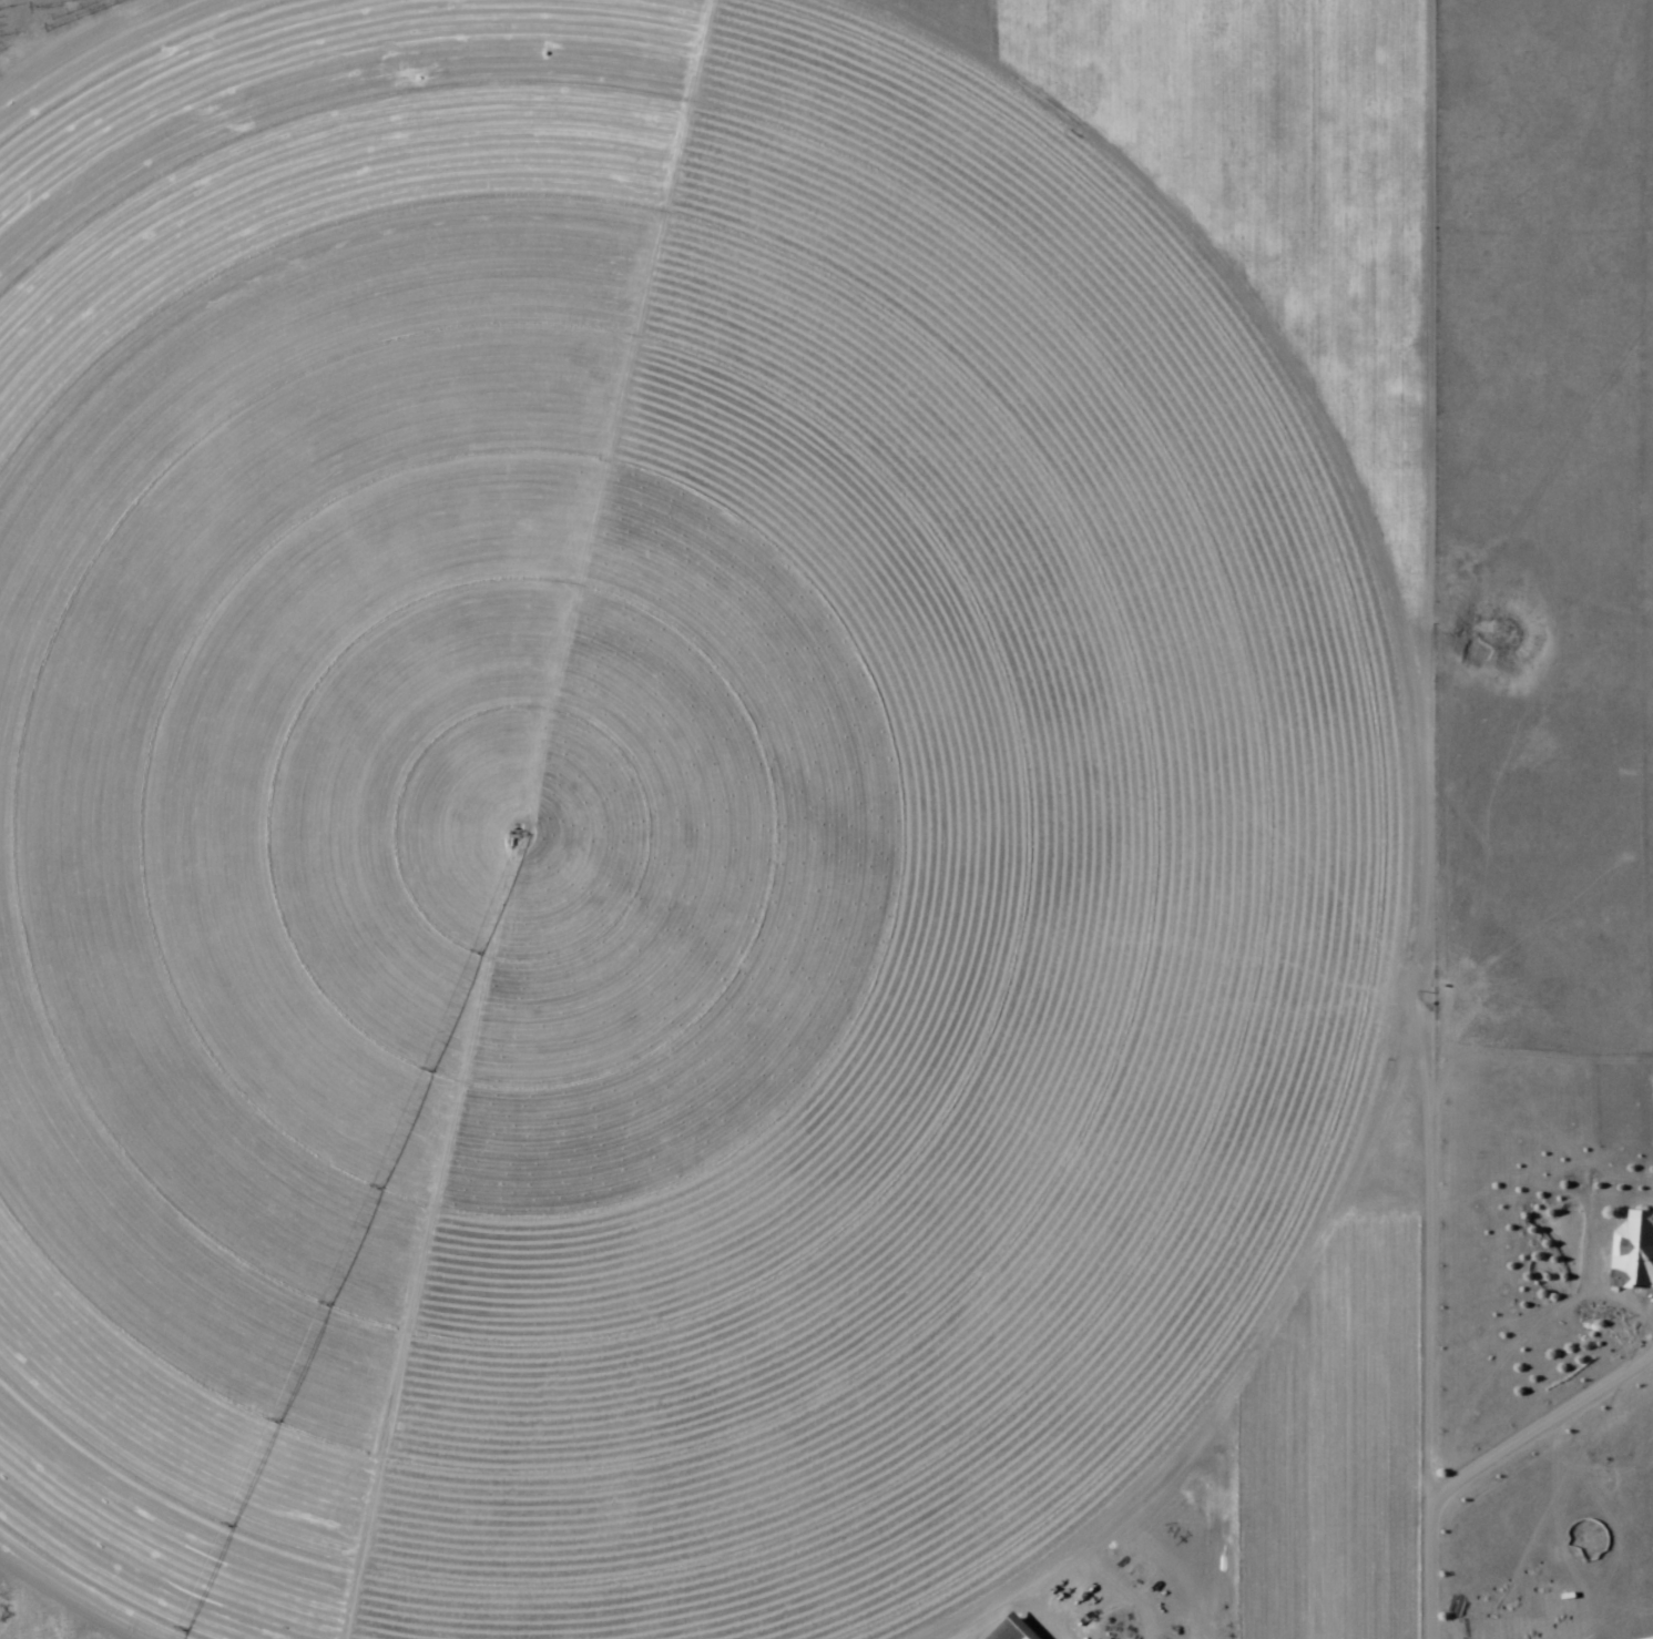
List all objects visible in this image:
building: (1633, 1253)
road: (1549, 1419)
building: (1016, 1630)

